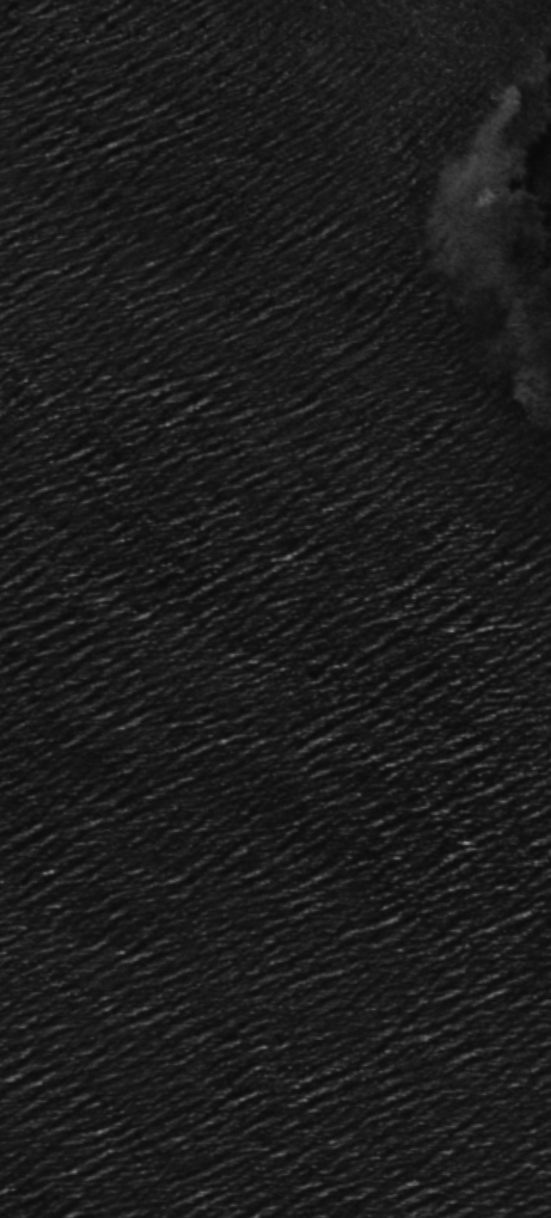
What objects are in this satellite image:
river: (173, 901)

